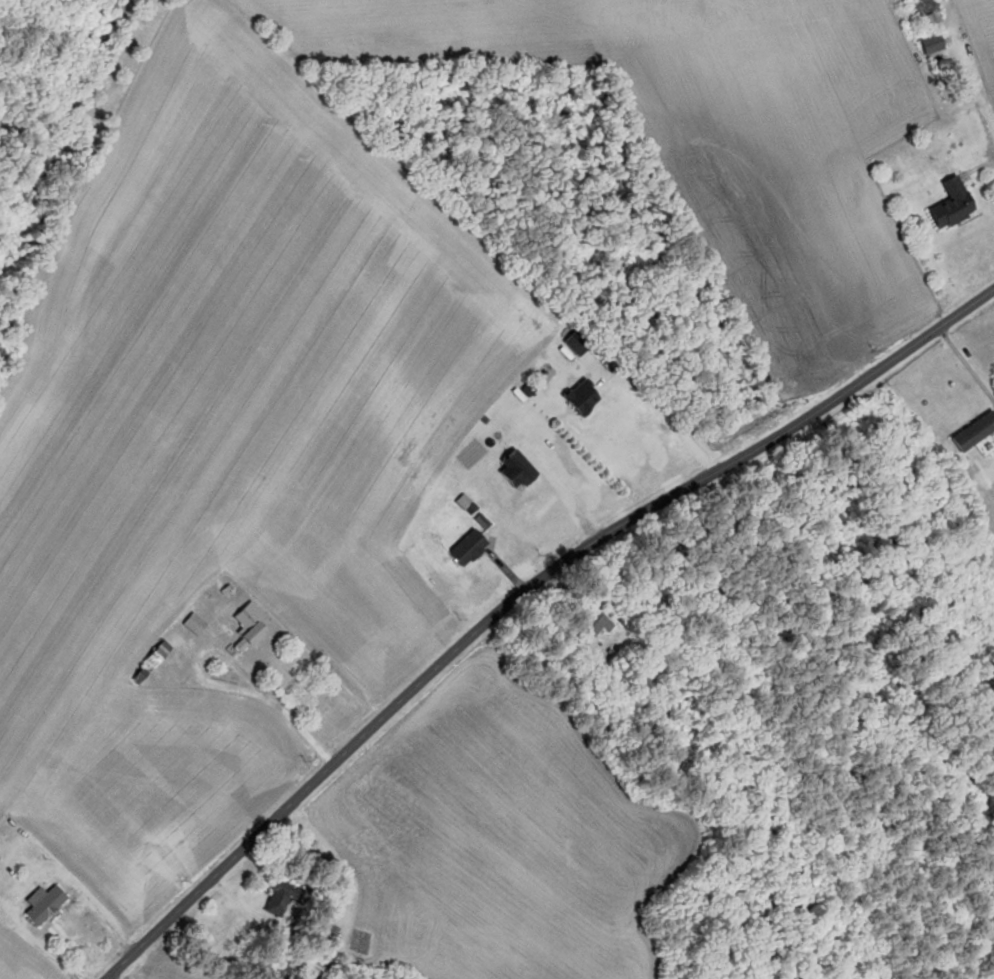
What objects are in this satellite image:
building: (922, 13)
building: (926, 44)
building: (947, 203)
road: (911, 345)
road: (663, 413)
building: (970, 431)
building: (510, 468)
building: (463, 548)
building: (190, 623)
building: (243, 626)
building: (587, 626)
building: (152, 655)
road: (441, 660)
building: (278, 898)
building: (40, 904)
road: (112, 975)

